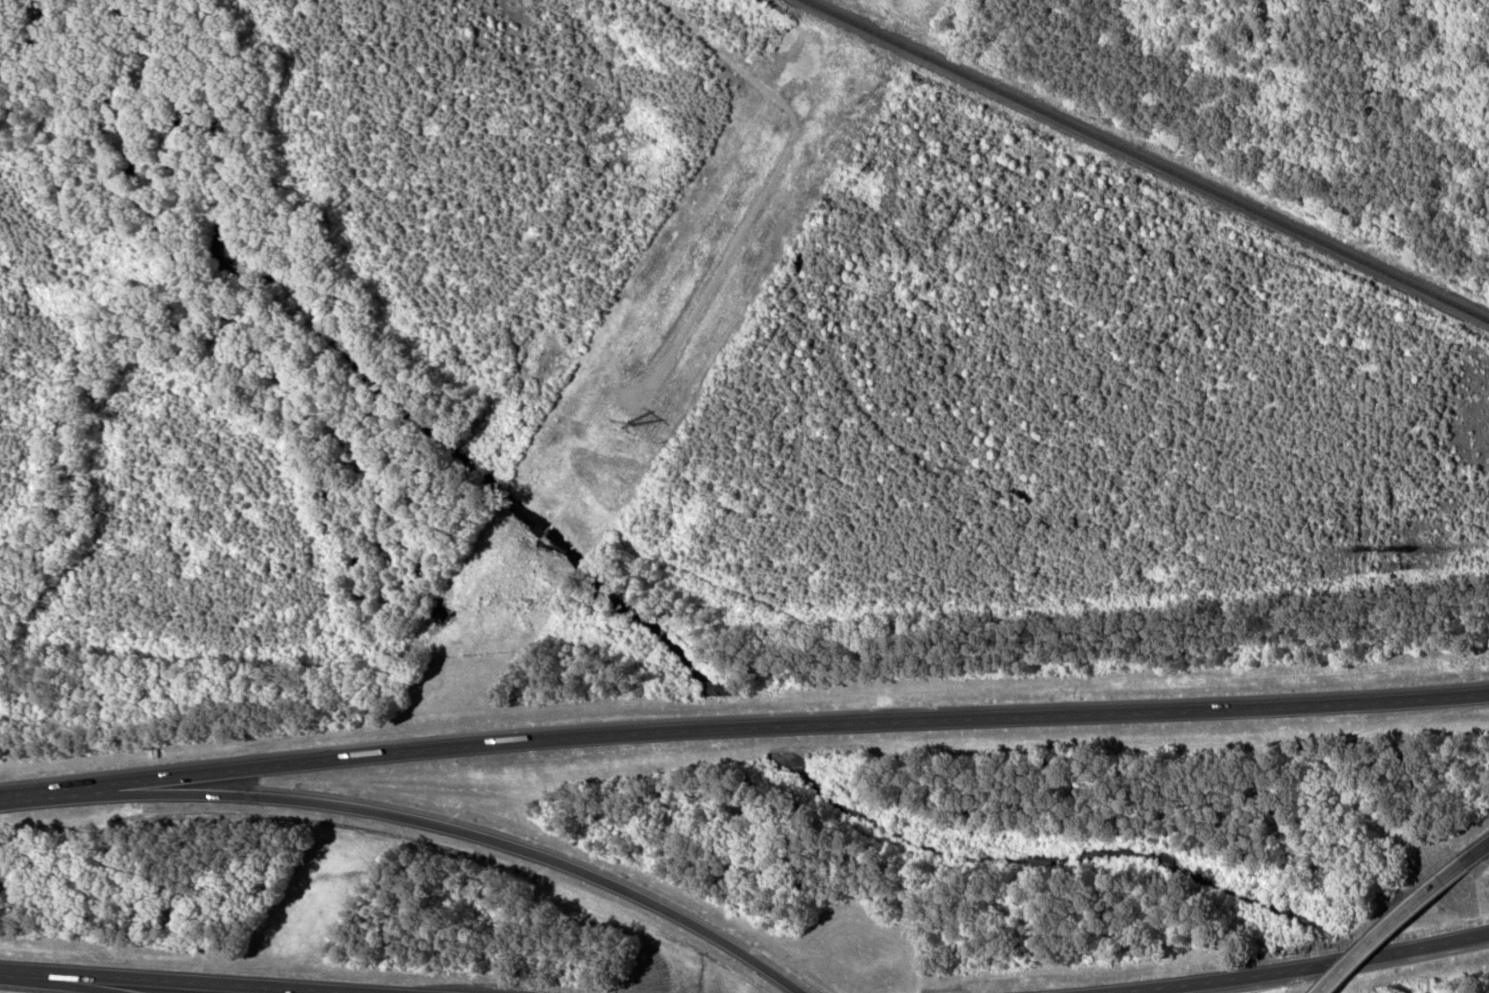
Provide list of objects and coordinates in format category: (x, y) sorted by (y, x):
railway: (1147, 159)
power tower: (628, 423)
road: (768, 725)
road: (26, 797)
road: (444, 827)
road: (1477, 853)
road: (1392, 925)
road: (1307, 967)
road: (183, 982)
road: (55, 985)

